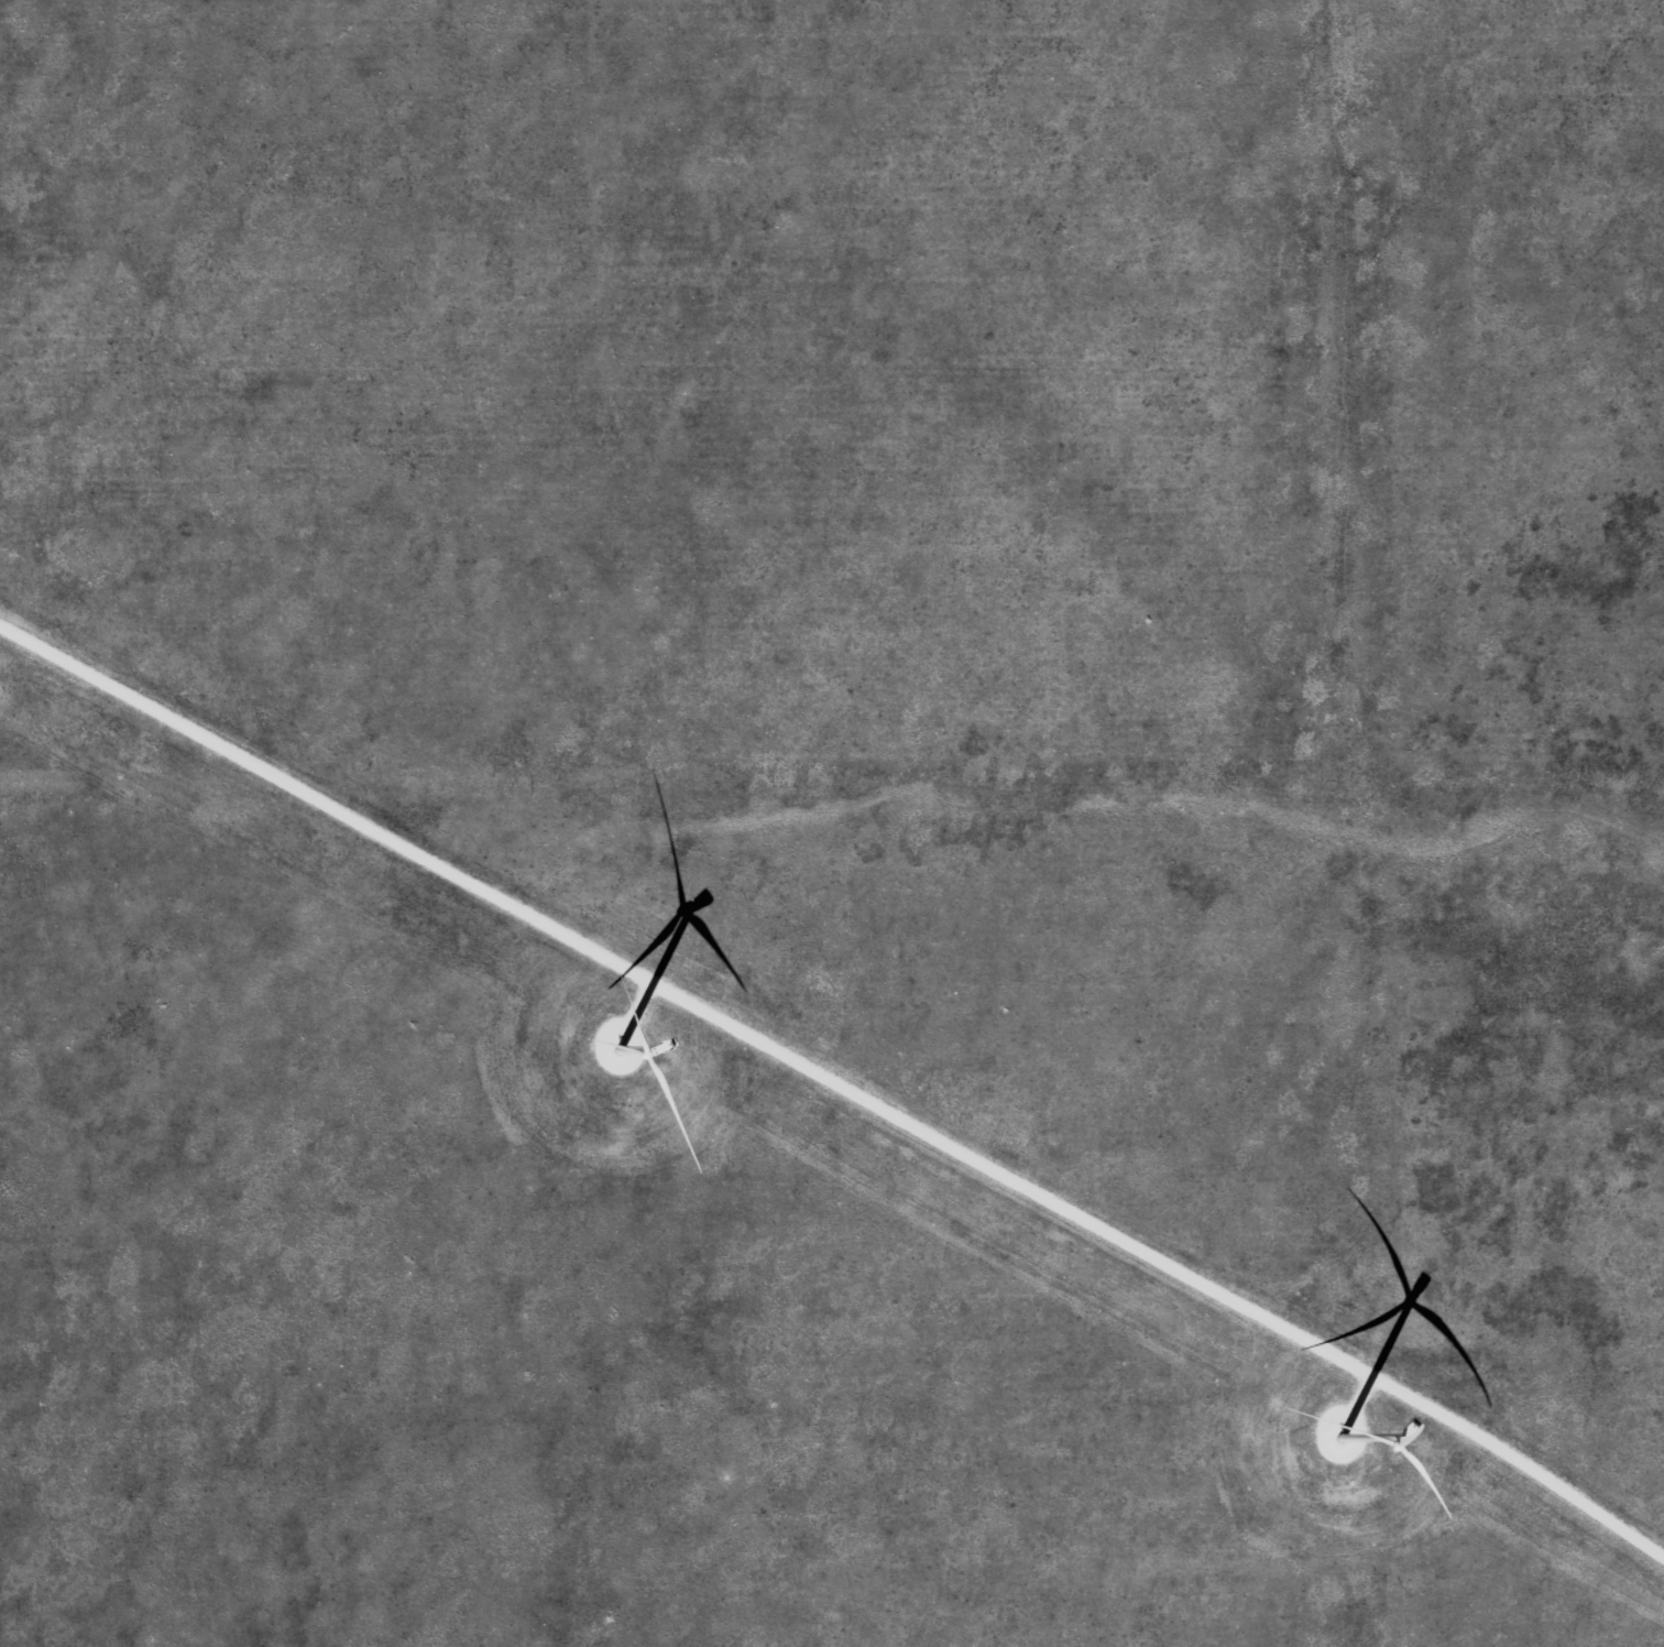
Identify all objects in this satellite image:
wind turbine: (624, 1055)
wind turbine: (1348, 1444)

